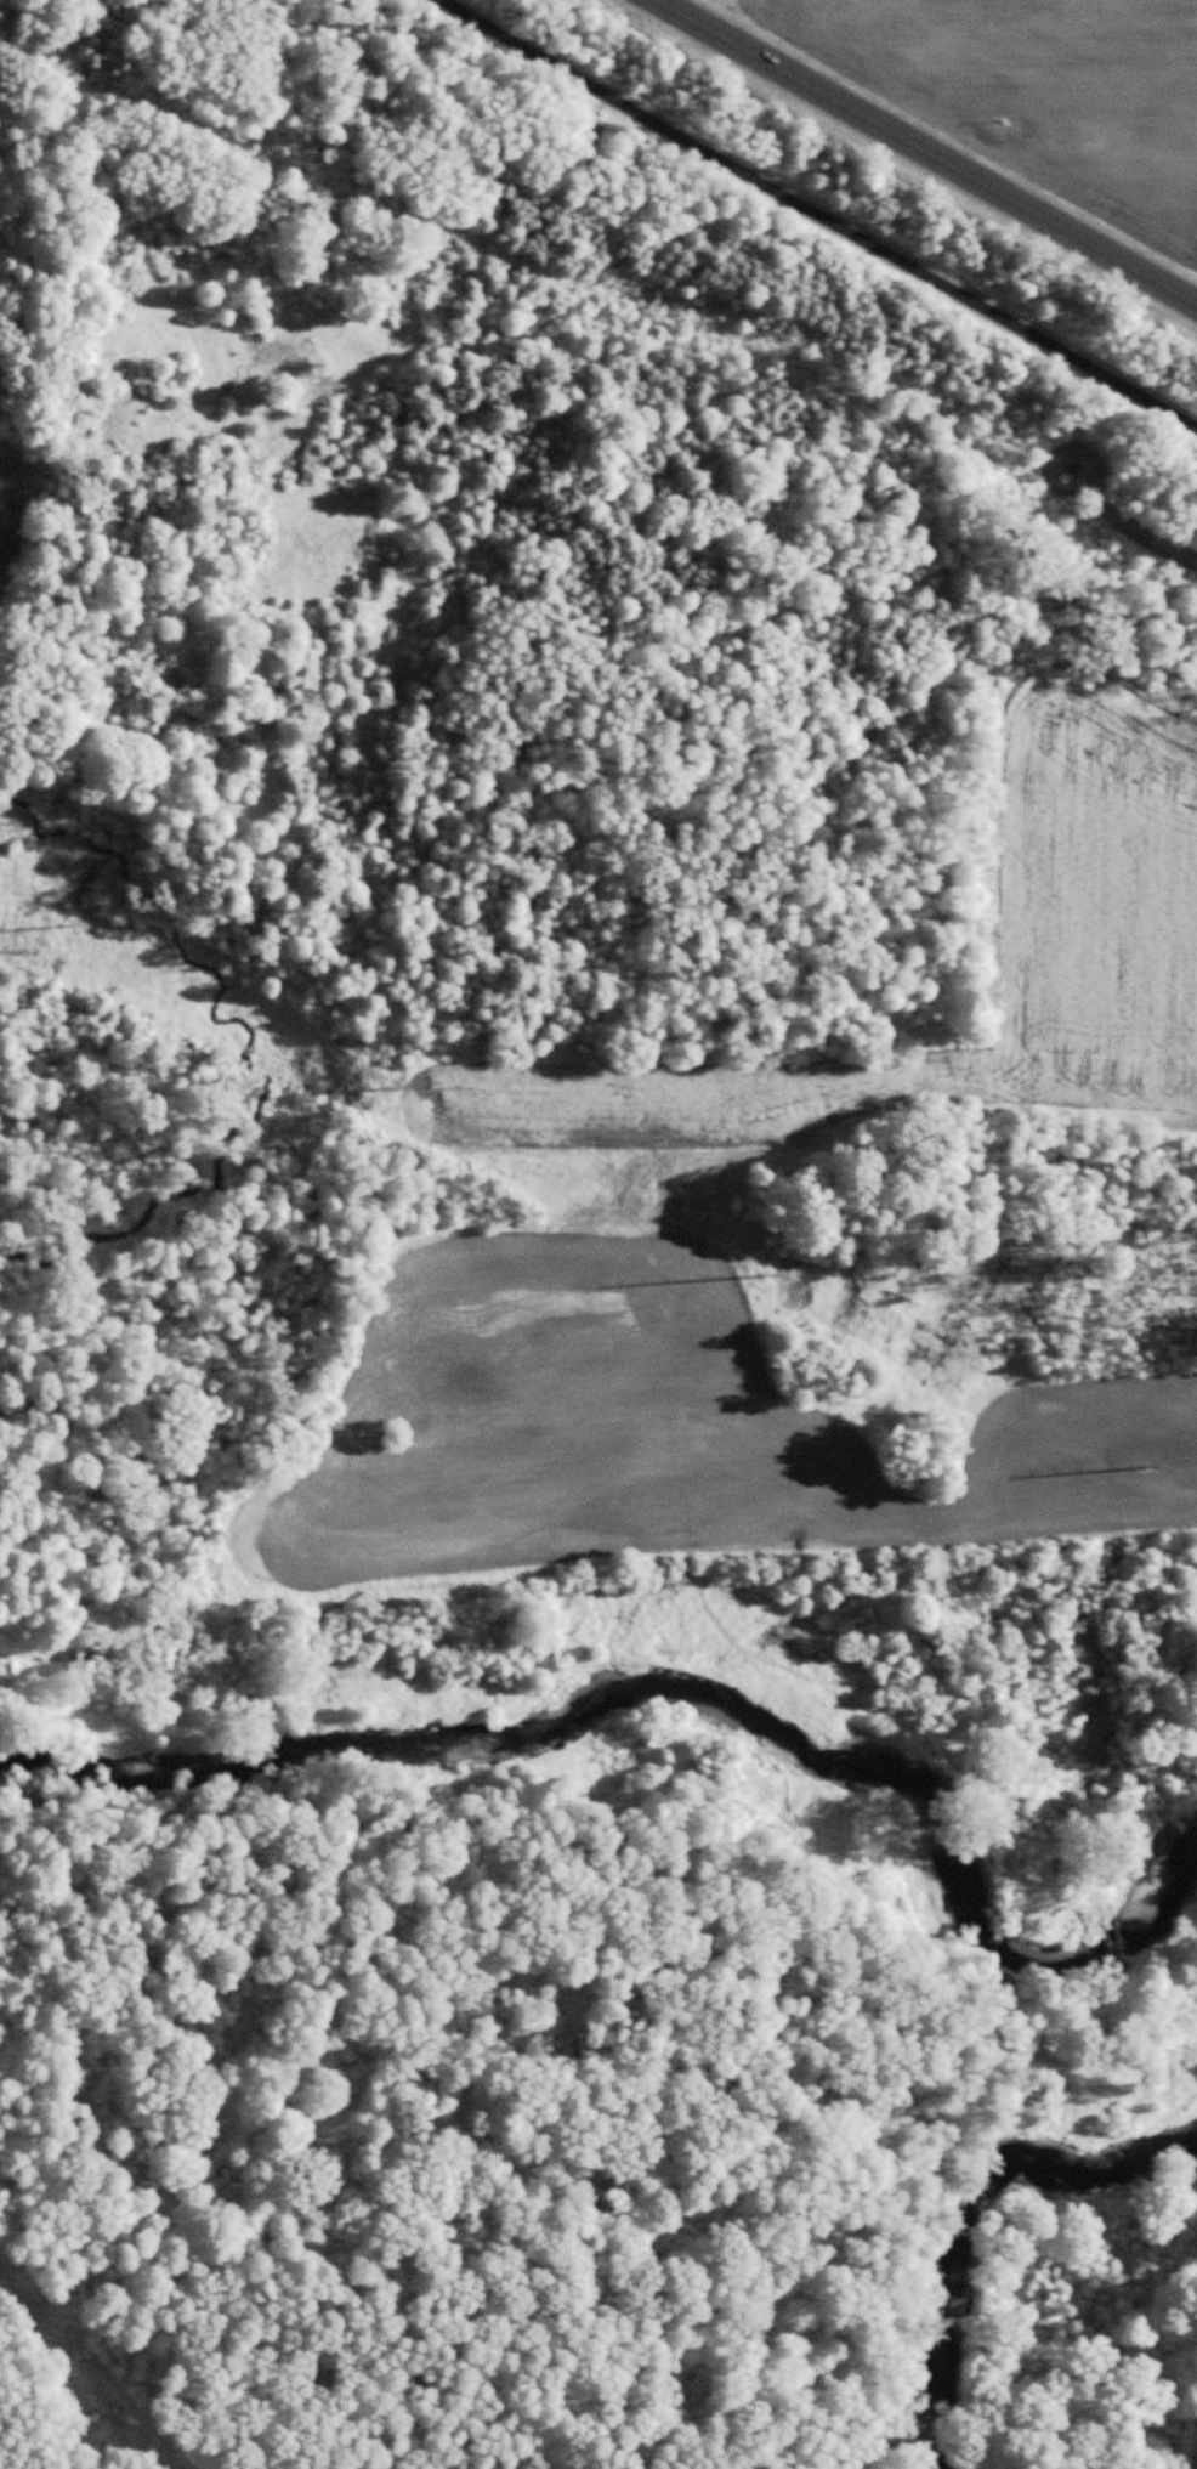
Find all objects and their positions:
road: (923, 155)
road: (802, 214)
road: (1142, 530)
power tower: (52, 921)
power tower: (376, 1075)
power tower: (760, 1268)
power tower: (1145, 1459)
river: (679, 1712)
river: (976, 2212)

